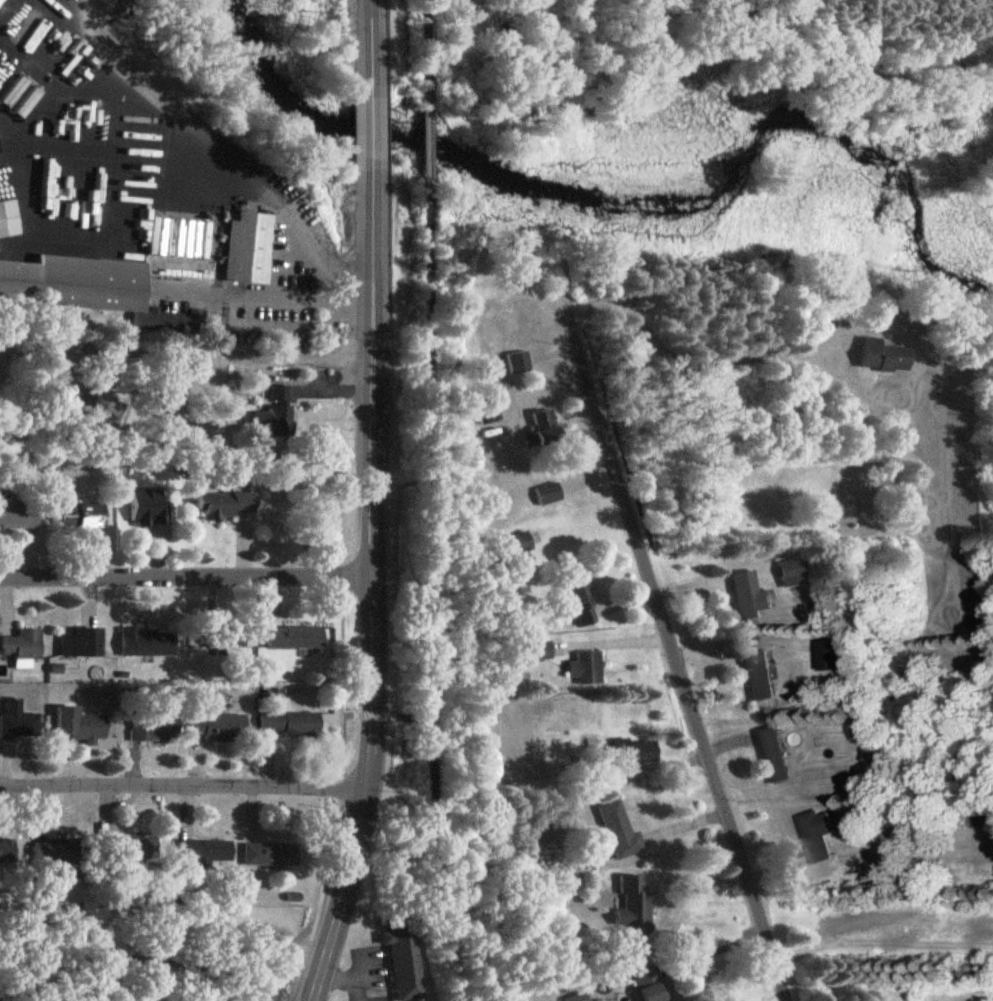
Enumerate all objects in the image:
building: (1, 2)
road: (427, 46)
road: (370, 49)
road: (371, 129)
building: (45, 135)
road: (429, 142)
road: (193, 186)
building: (9, 219)
building: (250, 249)
building: (90, 289)
building: (516, 347)
road: (185, 349)
building: (886, 357)
road: (696, 363)
building: (276, 413)
building: (546, 429)
building: (228, 505)
building: (149, 508)
building: (19, 516)
building: (81, 517)
building: (516, 546)
building: (793, 570)
road: (186, 578)
road: (373, 584)
road: (434, 597)
building: (752, 597)
building: (584, 603)
building: (295, 638)
building: (215, 639)
road: (612, 641)
building: (149, 642)
building: (78, 644)
building: (23, 648)
road: (674, 659)
building: (590, 669)
building: (507, 677)
building: (761, 677)
building: (19, 723)
building: (79, 725)
building: (290, 725)
building: (189, 727)
building: (636, 753)
building: (775, 756)
road: (199, 787)
building: (621, 832)
building: (820, 836)
building: (138, 849)
building: (207, 852)
building: (7, 853)
building: (57, 854)
building: (271, 855)
building: (634, 907)
road: (714, 951)
park: (154, 953)
building: (405, 963)
building: (651, 985)
building: (578, 998)

